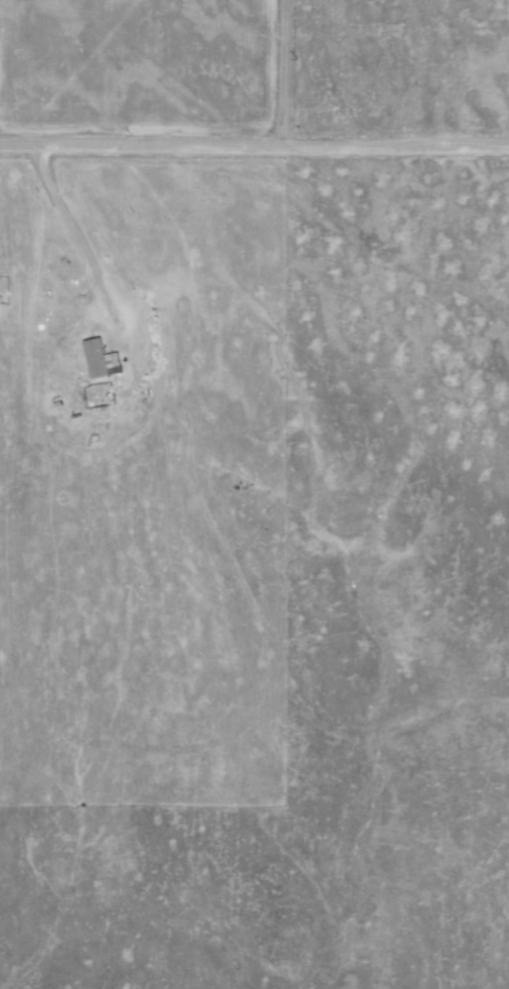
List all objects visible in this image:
road: (280, 73)
road: (254, 145)
building: (100, 359)

